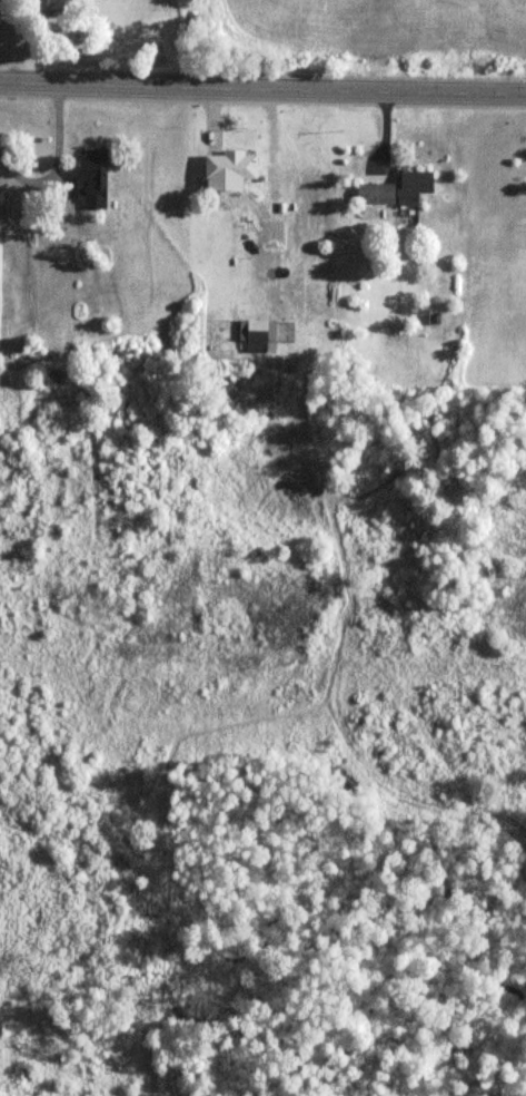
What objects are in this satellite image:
building: (56, 3)
road: (262, 87)
building: (234, 166)
building: (91, 178)
building: (396, 188)
building: (19, 205)
building: (256, 335)

